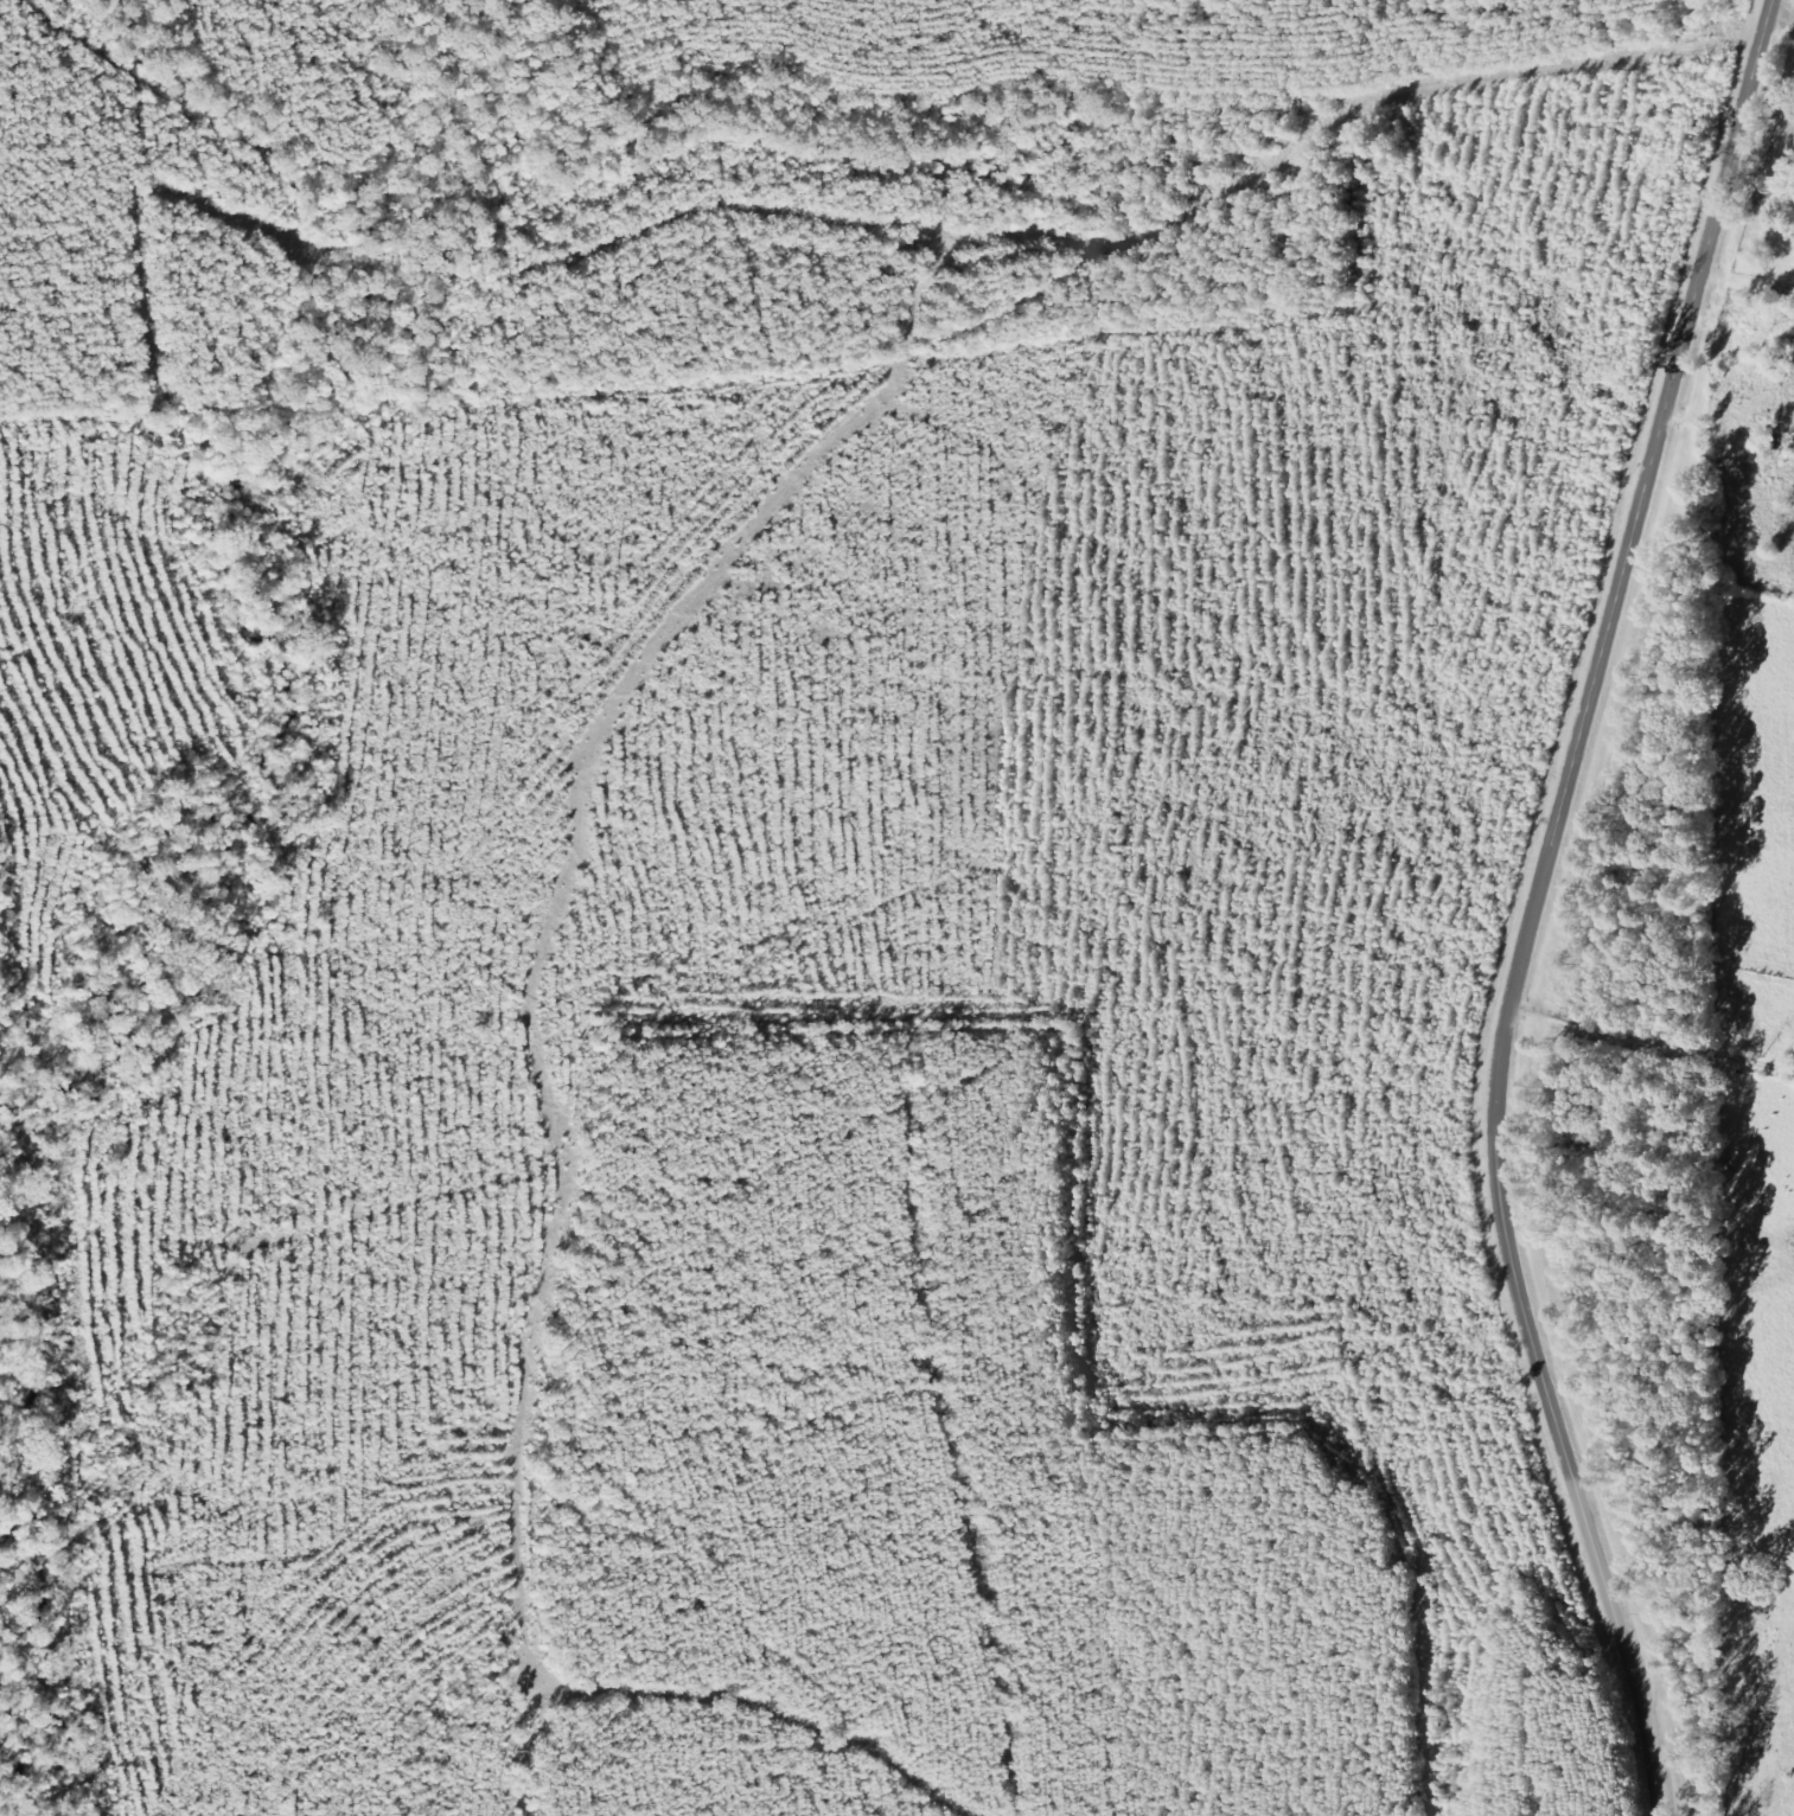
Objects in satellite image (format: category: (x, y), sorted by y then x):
road: (1783, 38)
road: (1533, 904)

